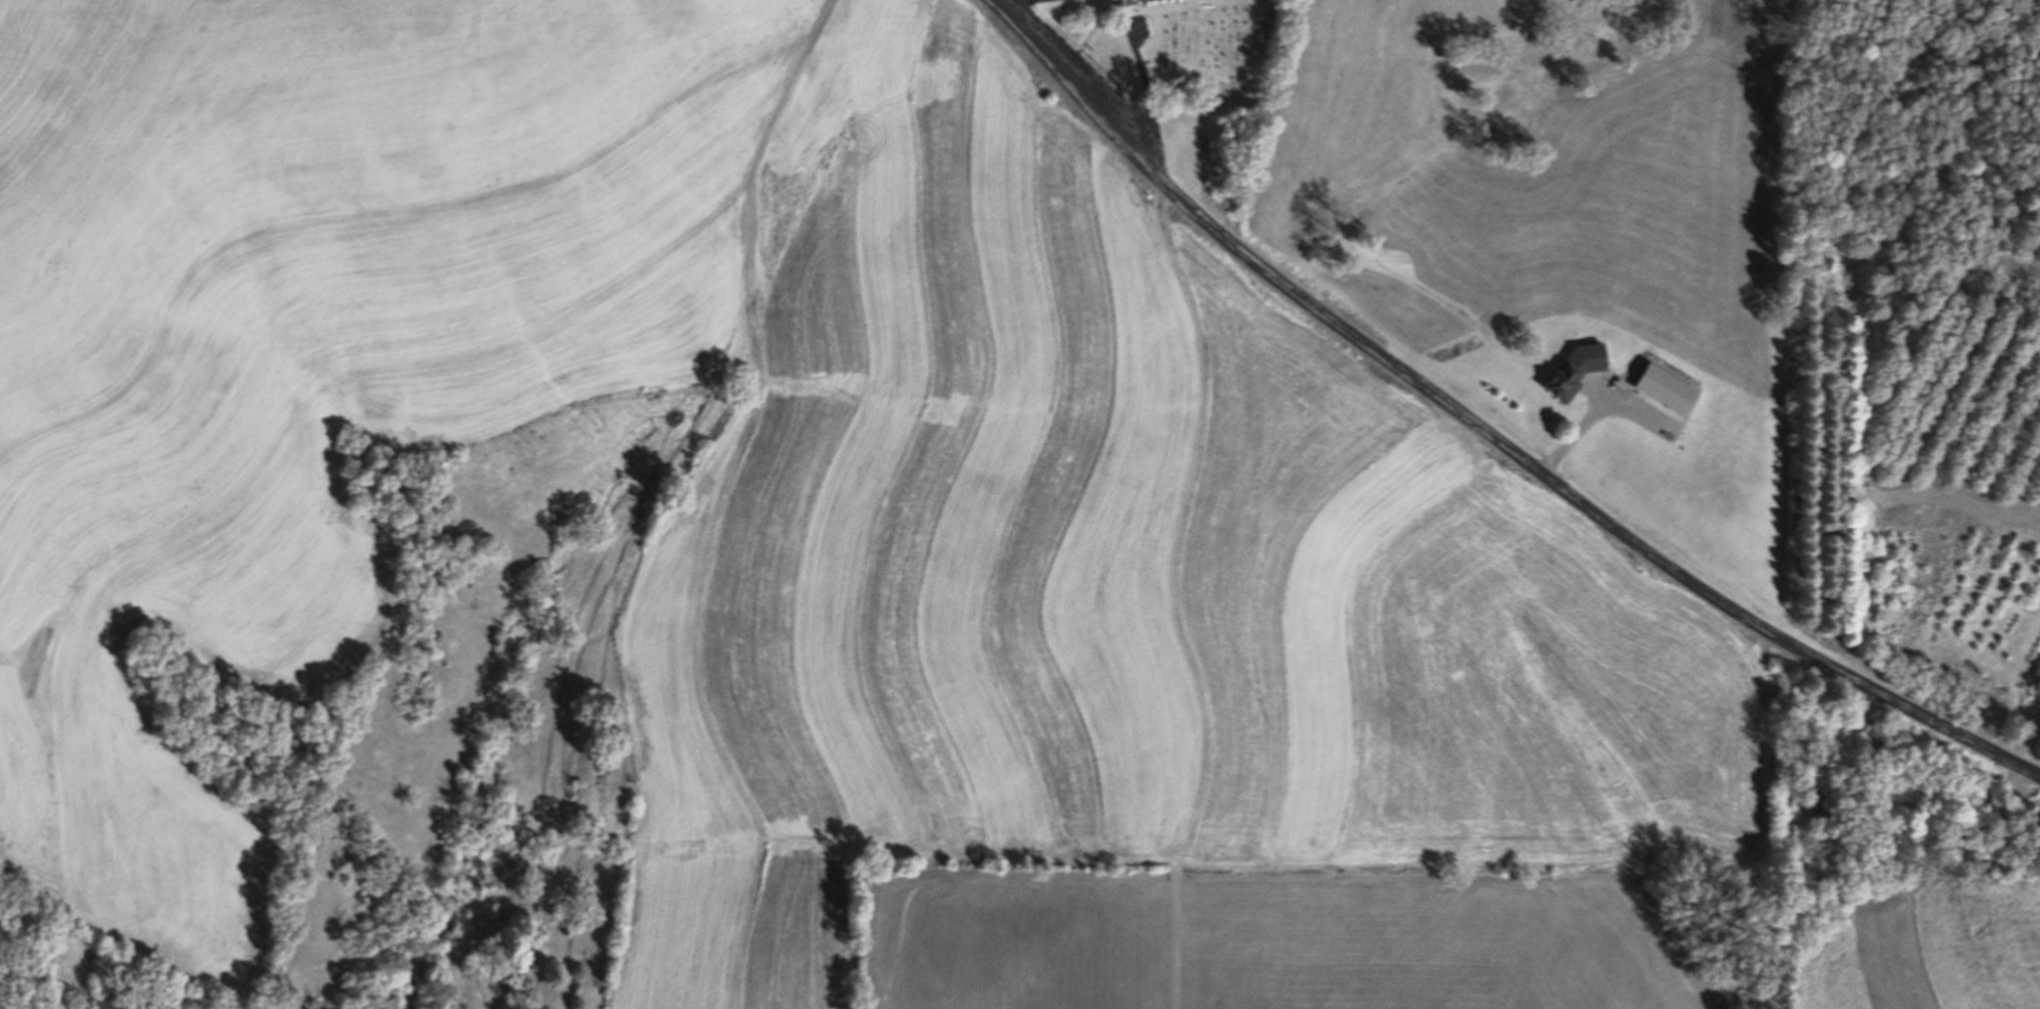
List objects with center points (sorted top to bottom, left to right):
park: (1180, 44)
building: (1650, 368)
building: (1566, 380)
road: (1485, 428)
road: (670, 468)
building: (1866, 497)
building: (1825, 803)
building: (2034, 827)
building: (1961, 849)

